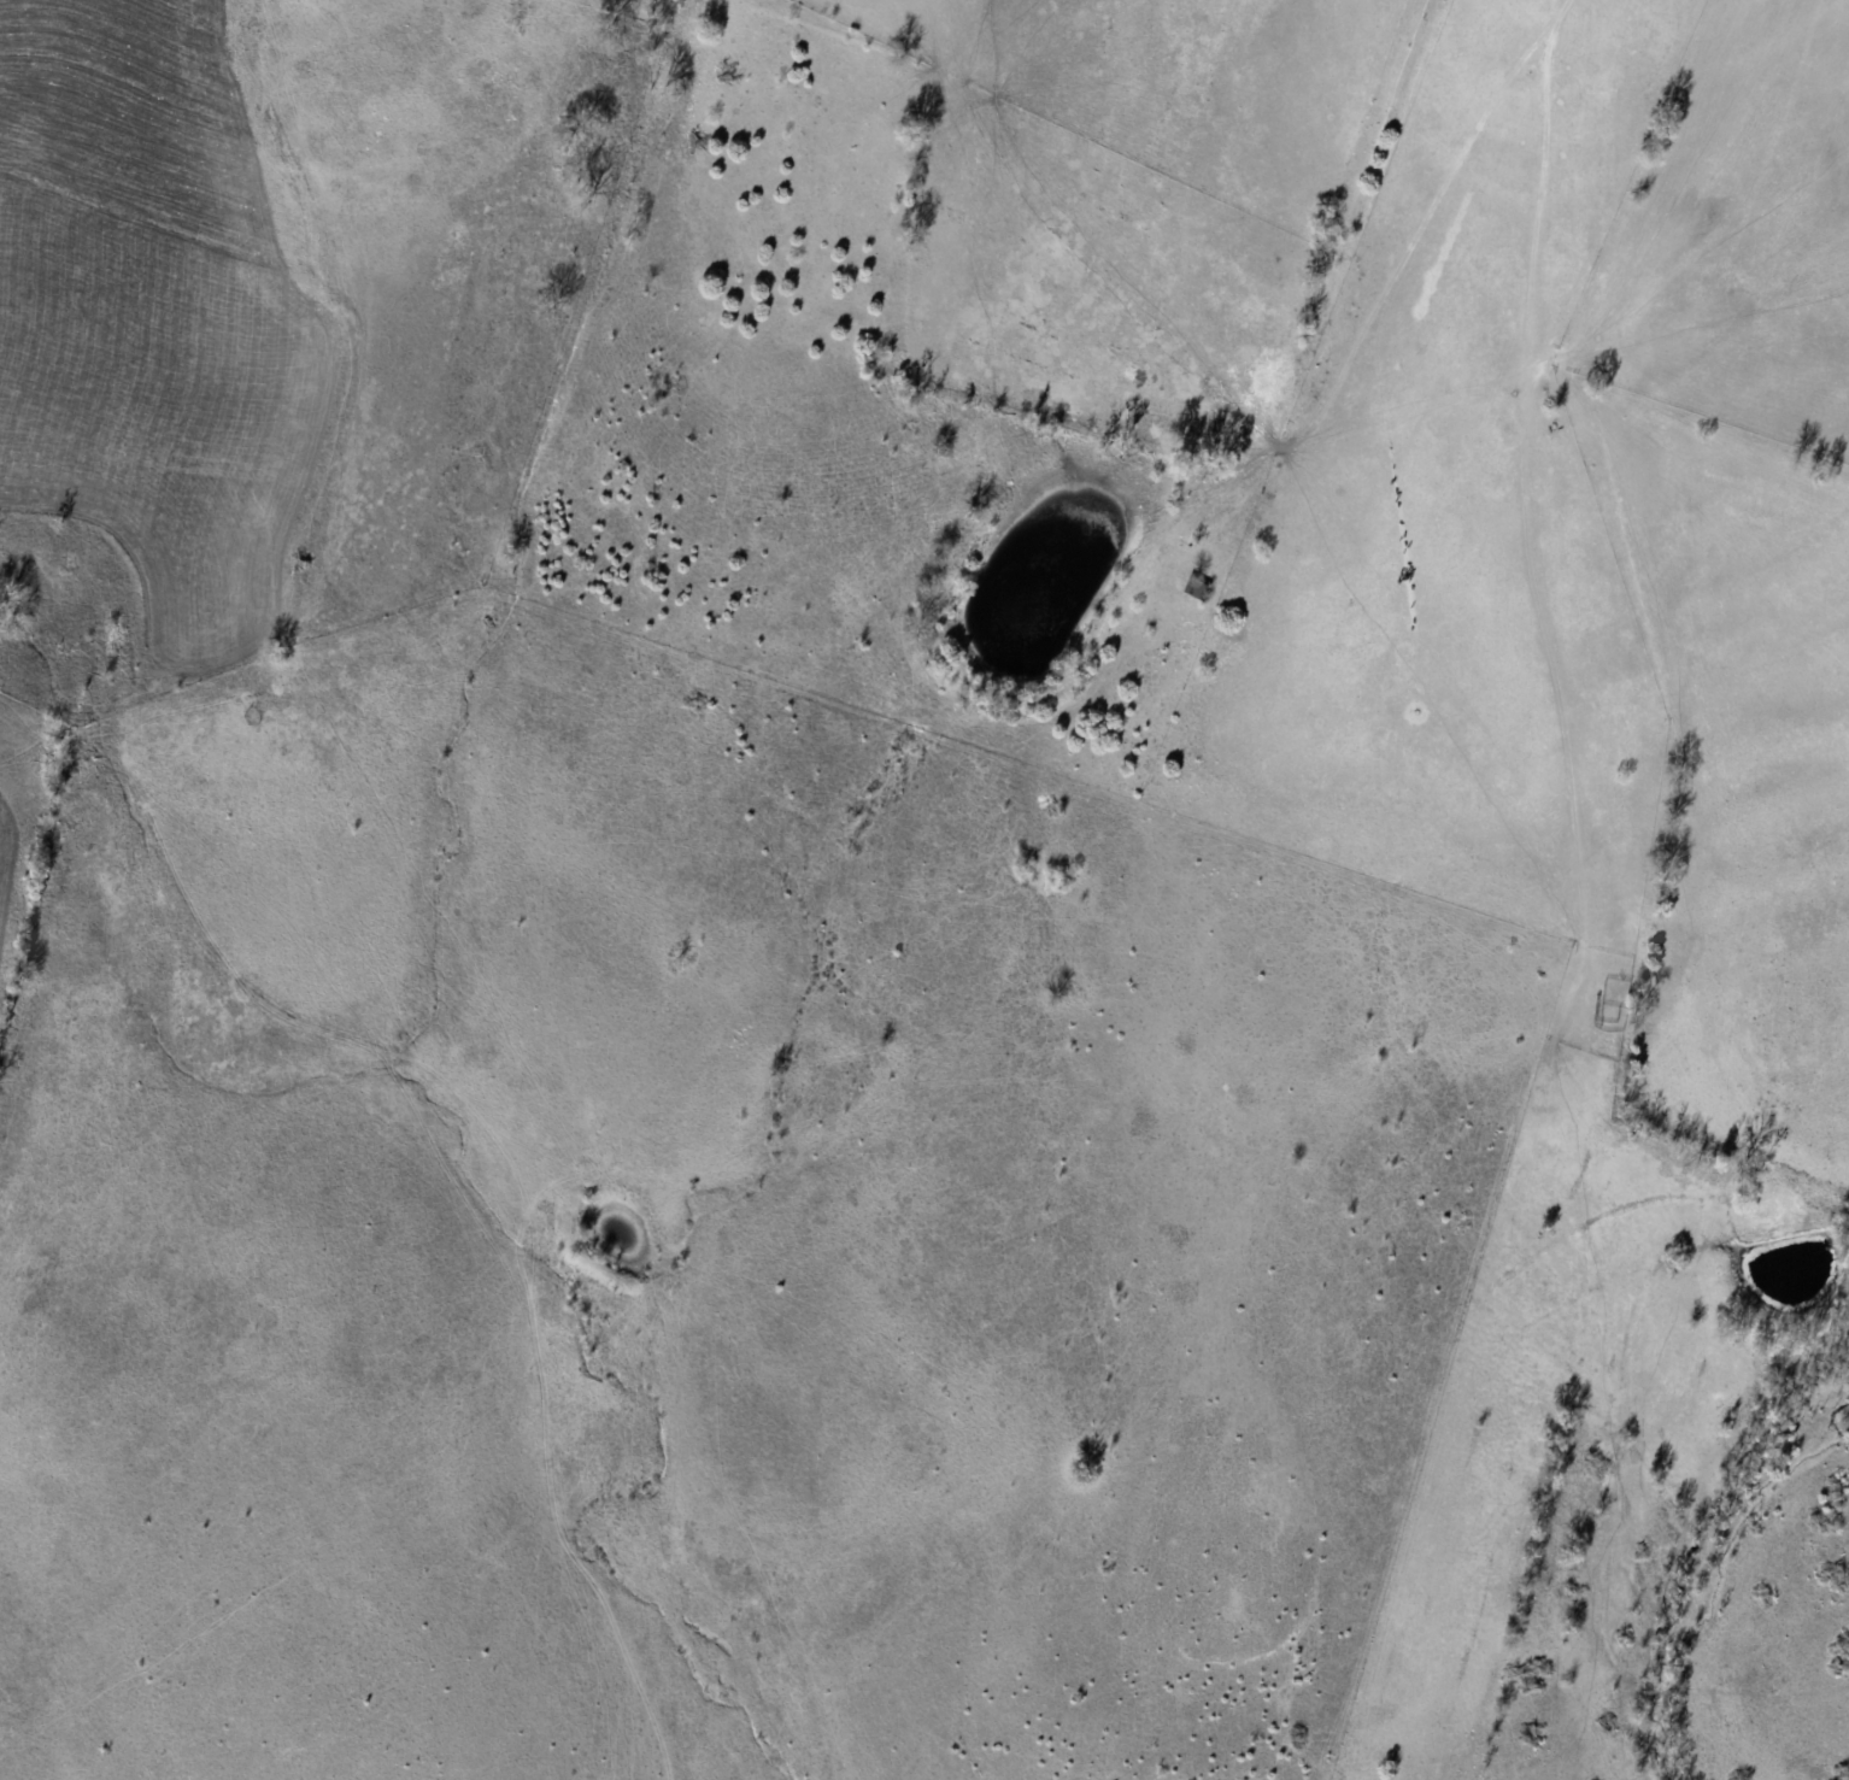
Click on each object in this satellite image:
road: (1813, 12)
road: (1715, 476)
building: (1196, 588)
road: (1579, 658)

